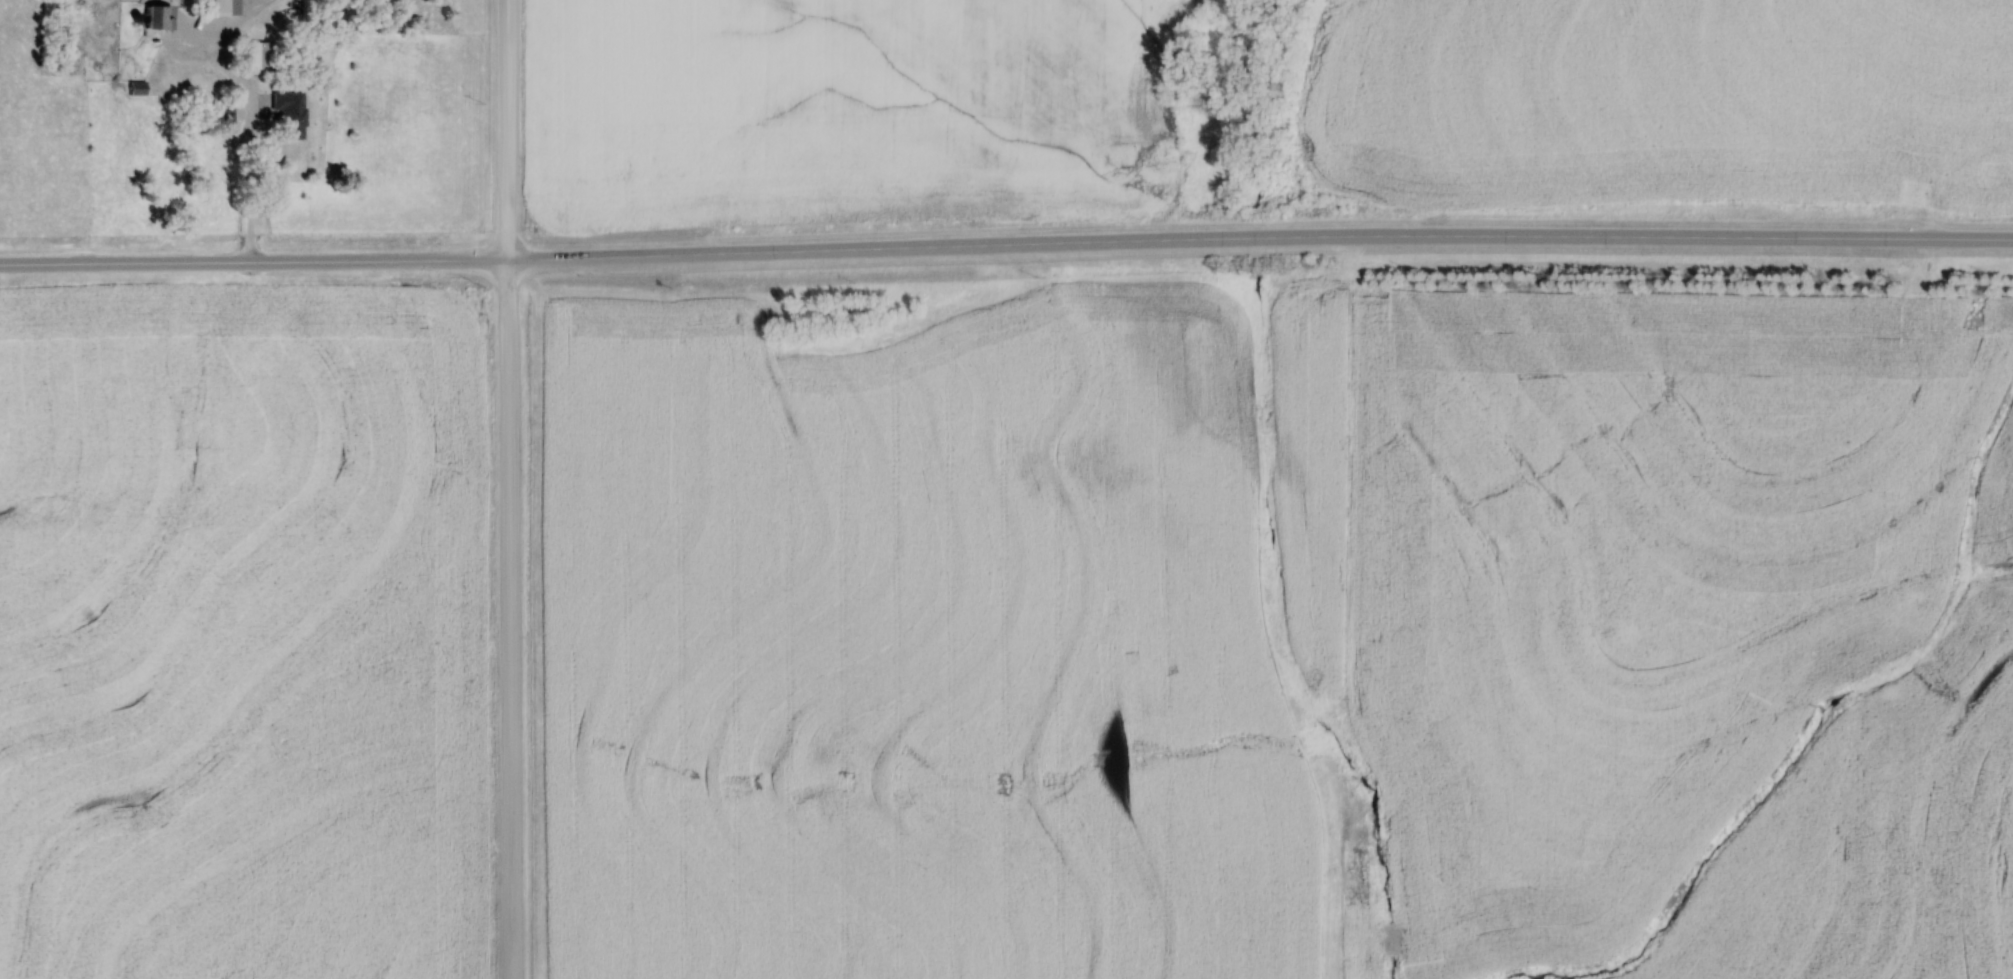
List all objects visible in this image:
building: (219, 7)
building: (154, 16)
building: (250, 55)
building: (133, 88)
building: (285, 113)
building: (223, 119)
road: (1006, 244)
road: (508, 489)

